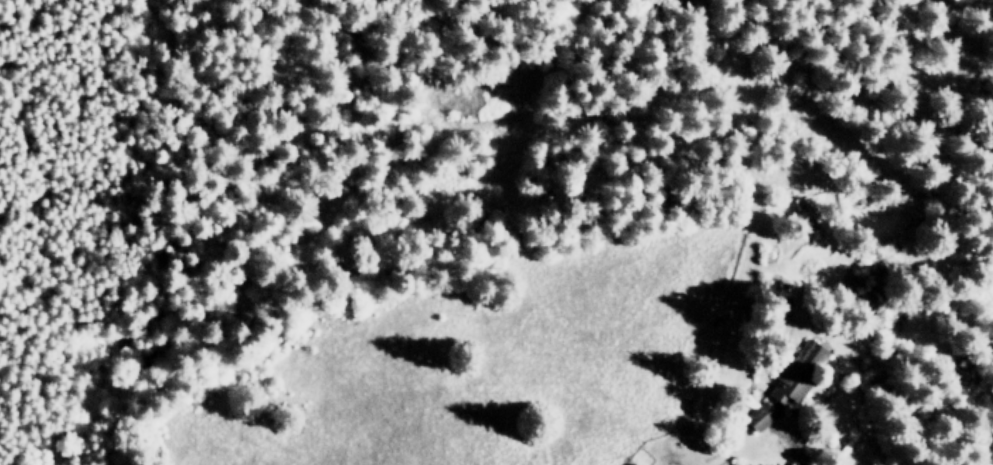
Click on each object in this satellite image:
building: (804, 213)
building: (797, 373)
building: (760, 415)
road: (742, 445)
building: (633, 464)

